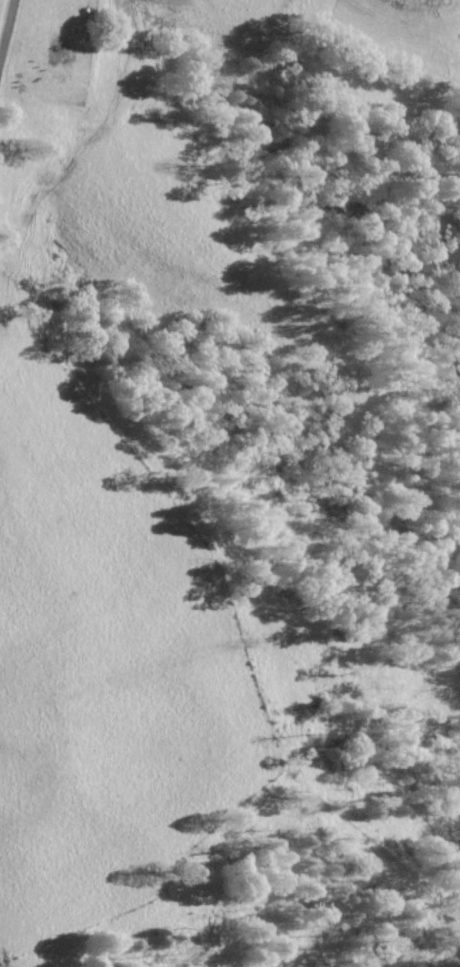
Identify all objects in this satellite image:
road: (5, 24)
crop: (129, 470)

